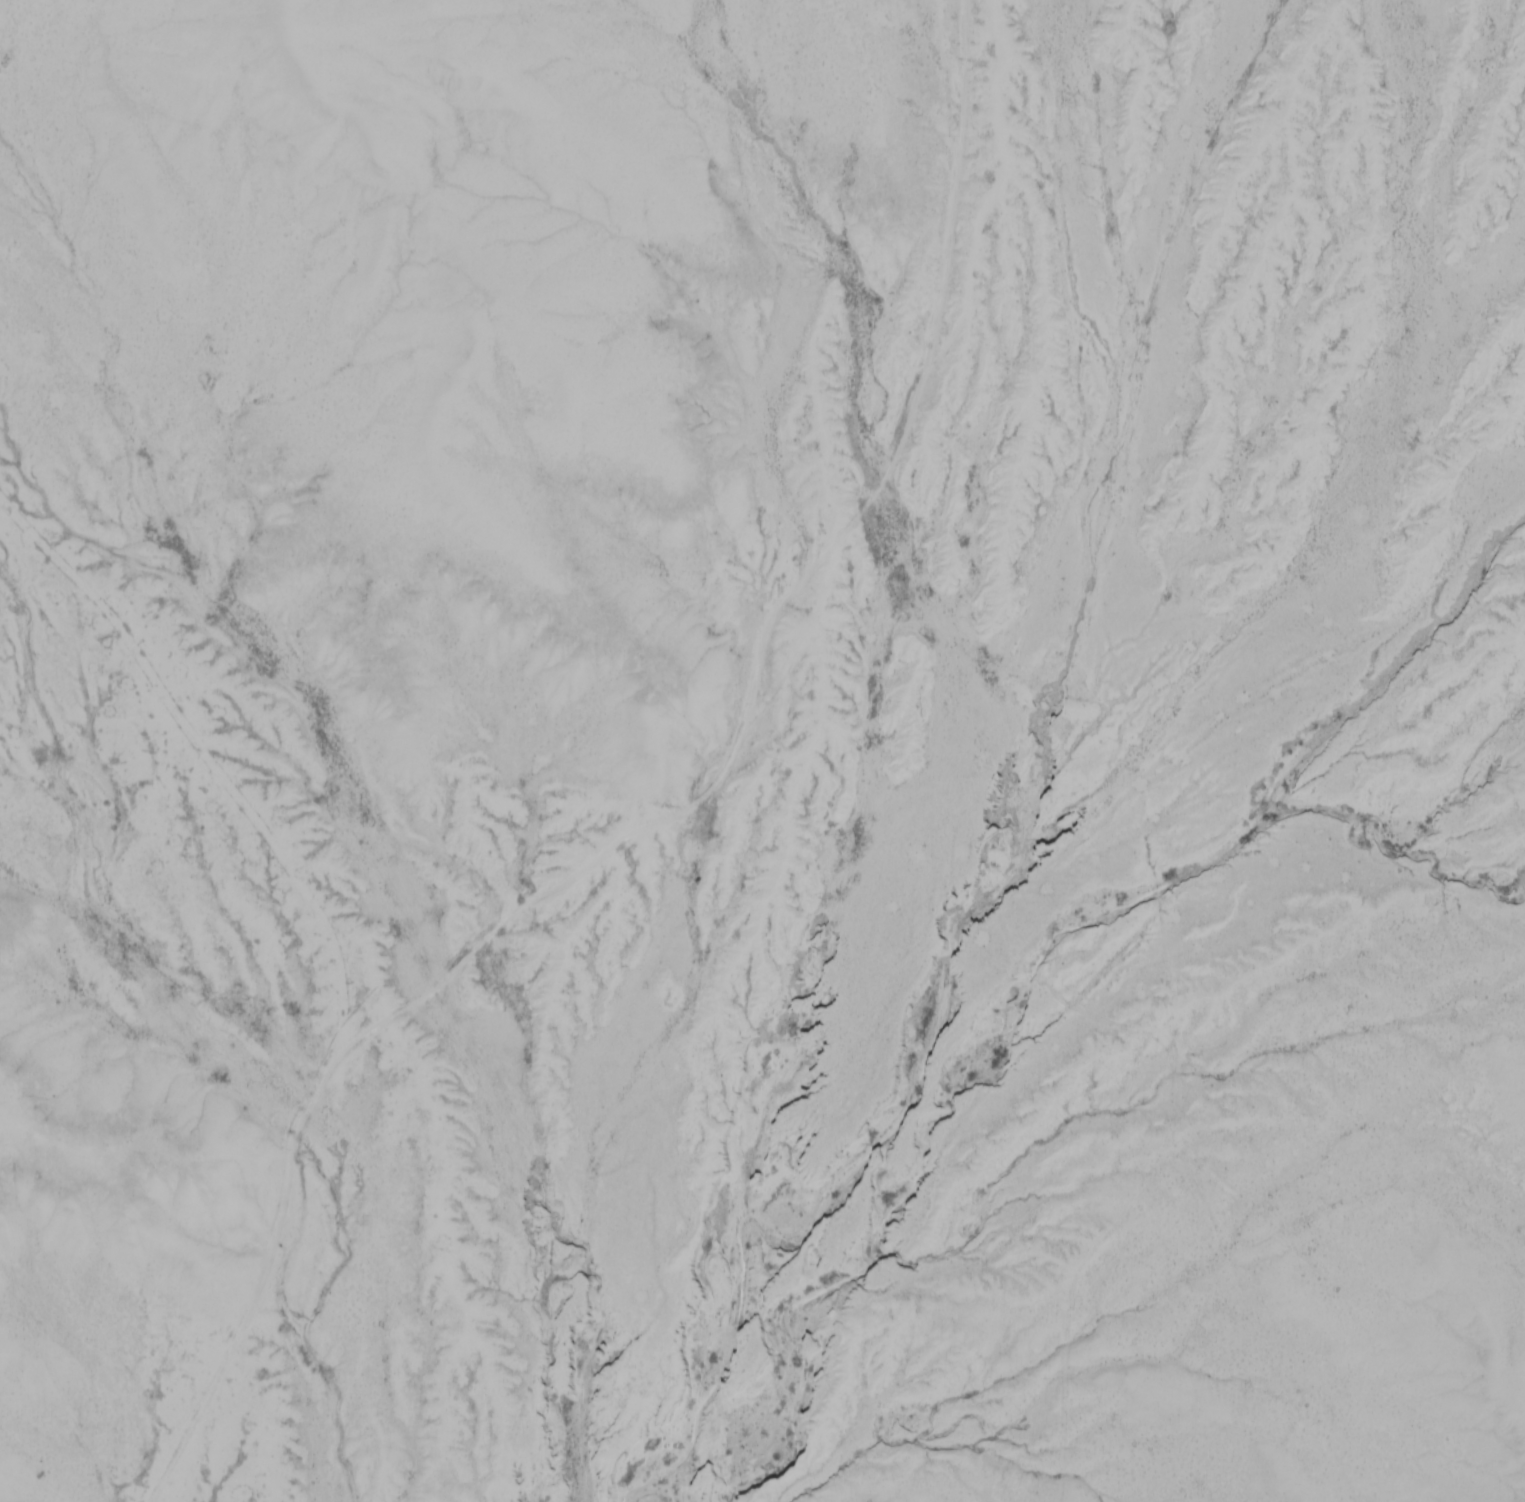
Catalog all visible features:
road: (120, 1375)

